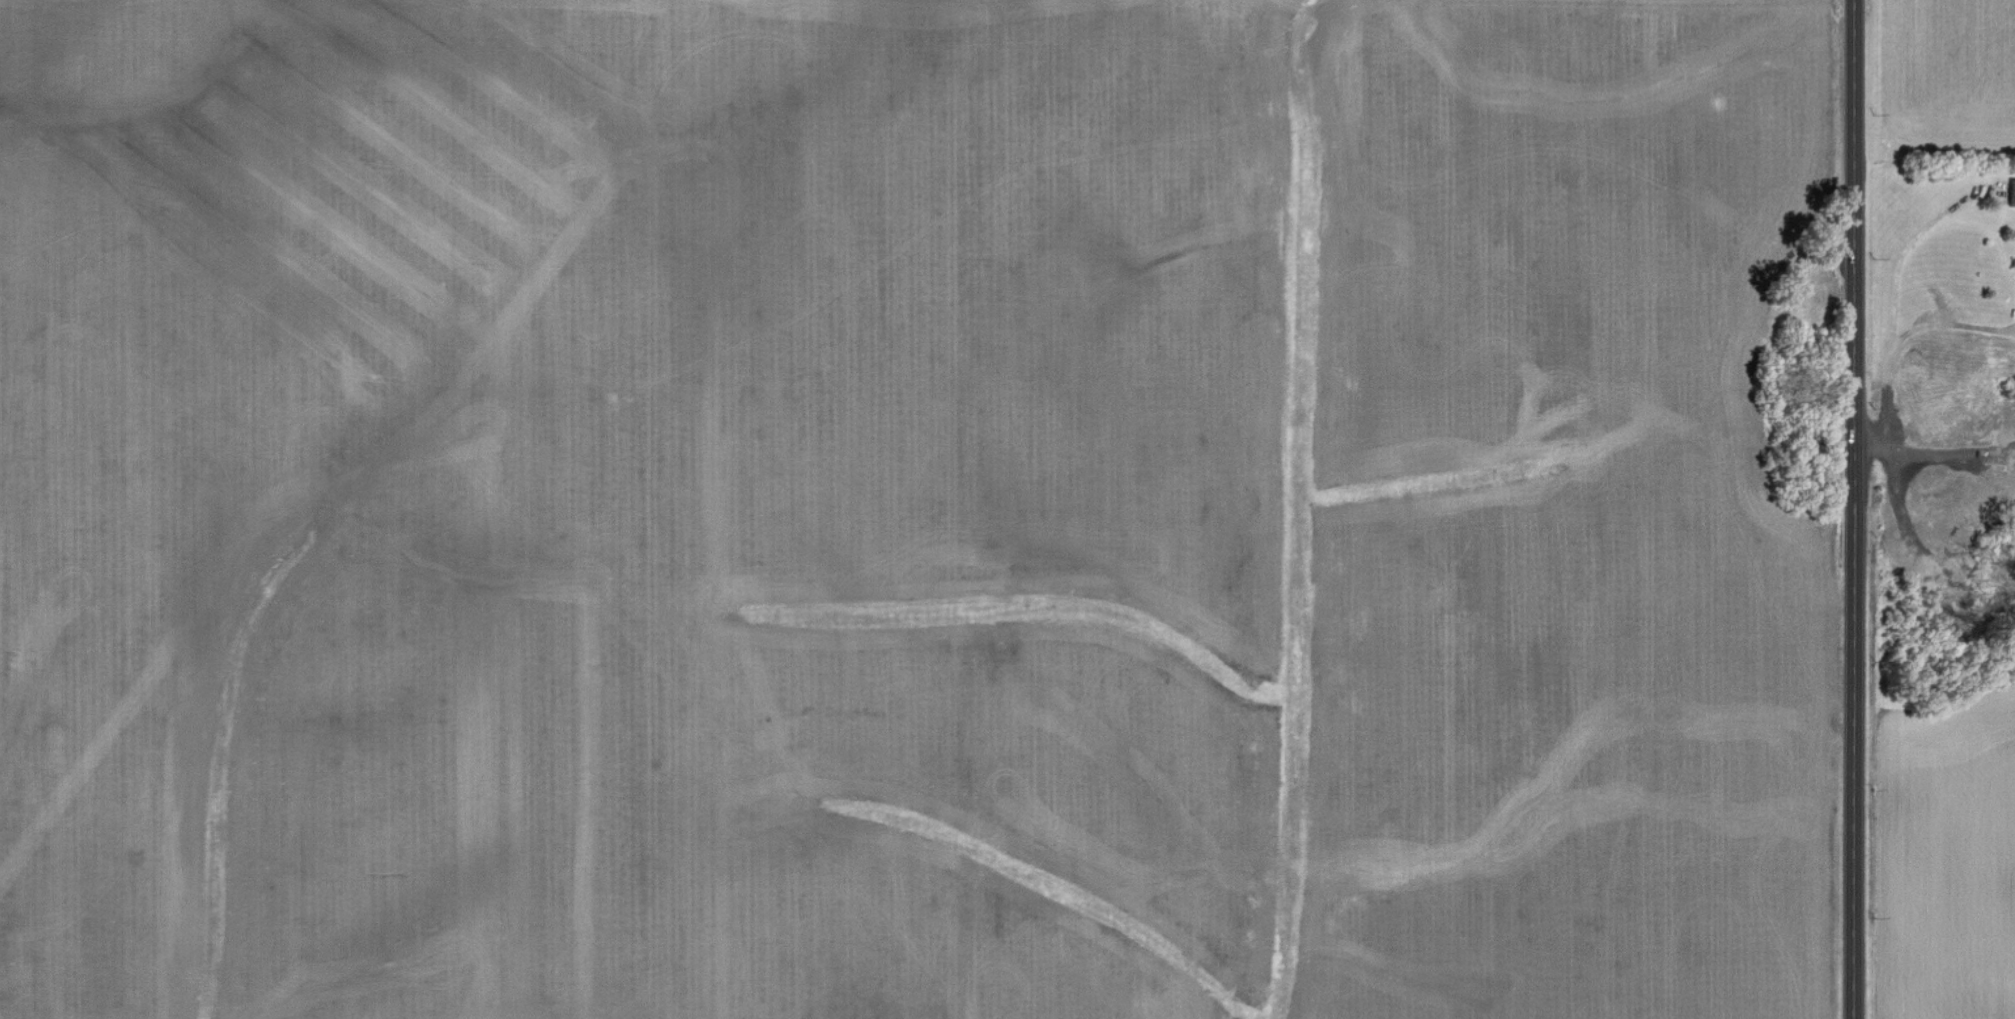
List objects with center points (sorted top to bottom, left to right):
building: (2012, 192)
road: (1896, 337)
road: (1854, 509)

